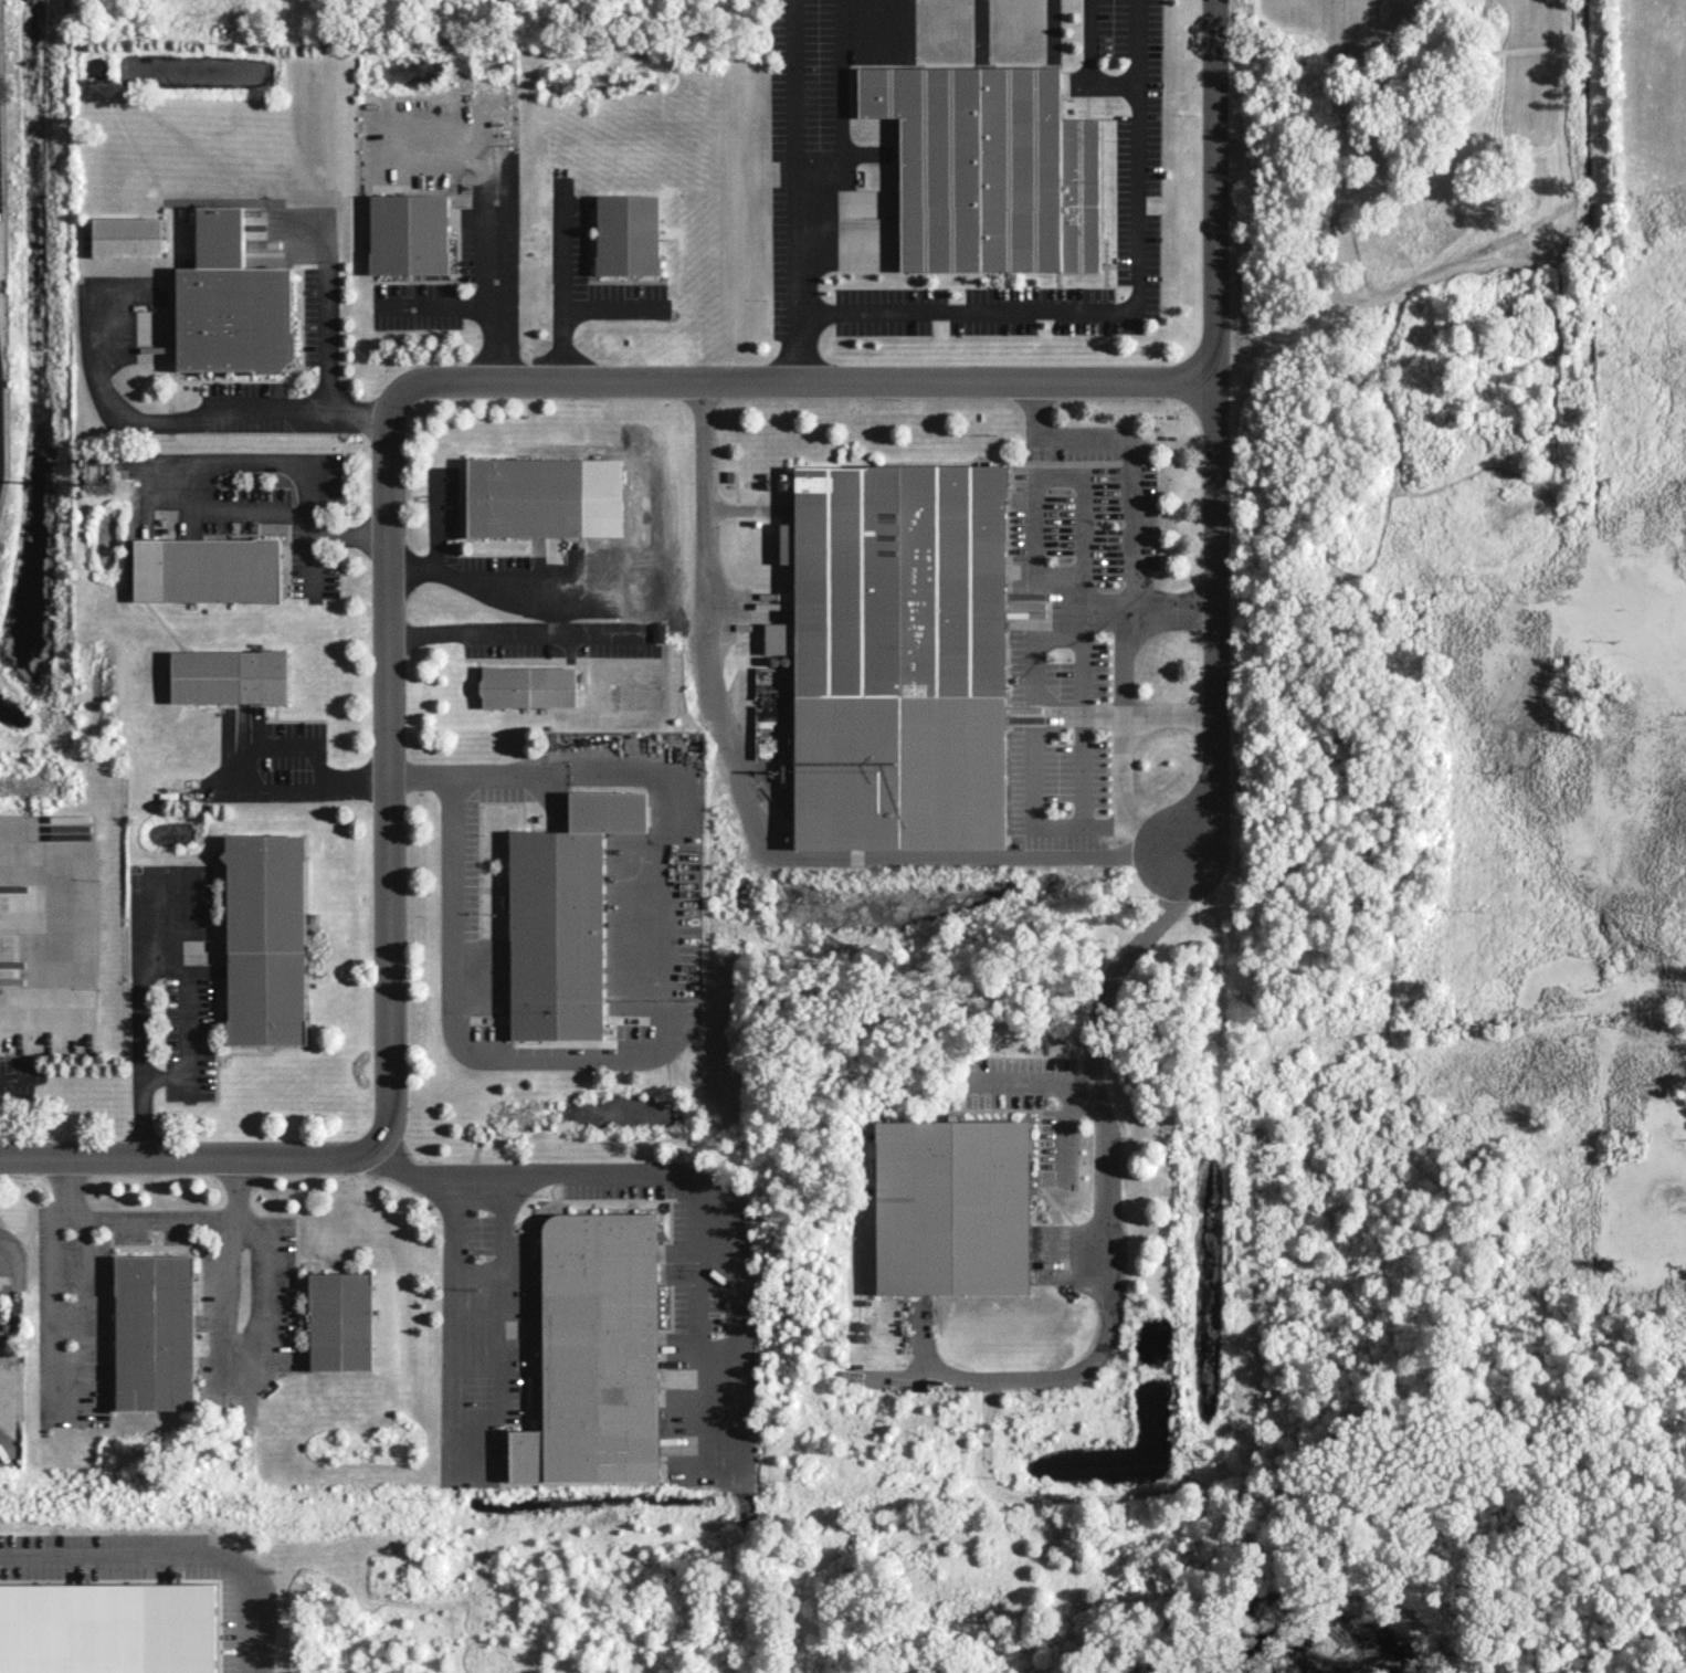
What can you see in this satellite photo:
building: (989, 168)
road: (795, 189)
road: (1216, 190)
building: (408, 233)
building: (628, 234)
building: (127, 236)
road: (560, 284)
road: (494, 297)
building: (231, 303)
road: (609, 303)
road: (1120, 307)
road: (802, 380)
road: (99, 381)
road: (318, 409)
road: (360, 409)
road: (262, 455)
building: (525, 497)
road: (1130, 498)
road: (296, 509)
road: (434, 524)
road: (315, 559)
building: (207, 569)
road: (496, 589)
road: (1095, 610)
road: (1221, 620)
road: (513, 636)
building: (899, 656)
building: (229, 675)
road: (1039, 680)
building: (527, 686)
road: (1087, 712)
road: (1172, 716)
road: (278, 744)
road: (1125, 748)
road: (474, 771)
road: (390, 779)
road: (299, 790)
road: (759, 819)
road: (1105, 822)
building: (563, 917)
building: (265, 939)
road: (57, 948)
road: (453, 974)
road: (140, 1018)
road: (187, 1029)
road: (18, 1077)
road: (186, 1162)
road: (663, 1174)
road: (1106, 1188)
building: (952, 1207)
road: (186, 1216)
road: (8, 1256)
road: (51, 1282)
road: (87, 1292)
building: (340, 1320)
building: (155, 1332)
building: (600, 1346)
road: (250, 1365)
road: (473, 1411)
building: (675, 1446)
road: (175, 1550)
building: (107, 1628)

